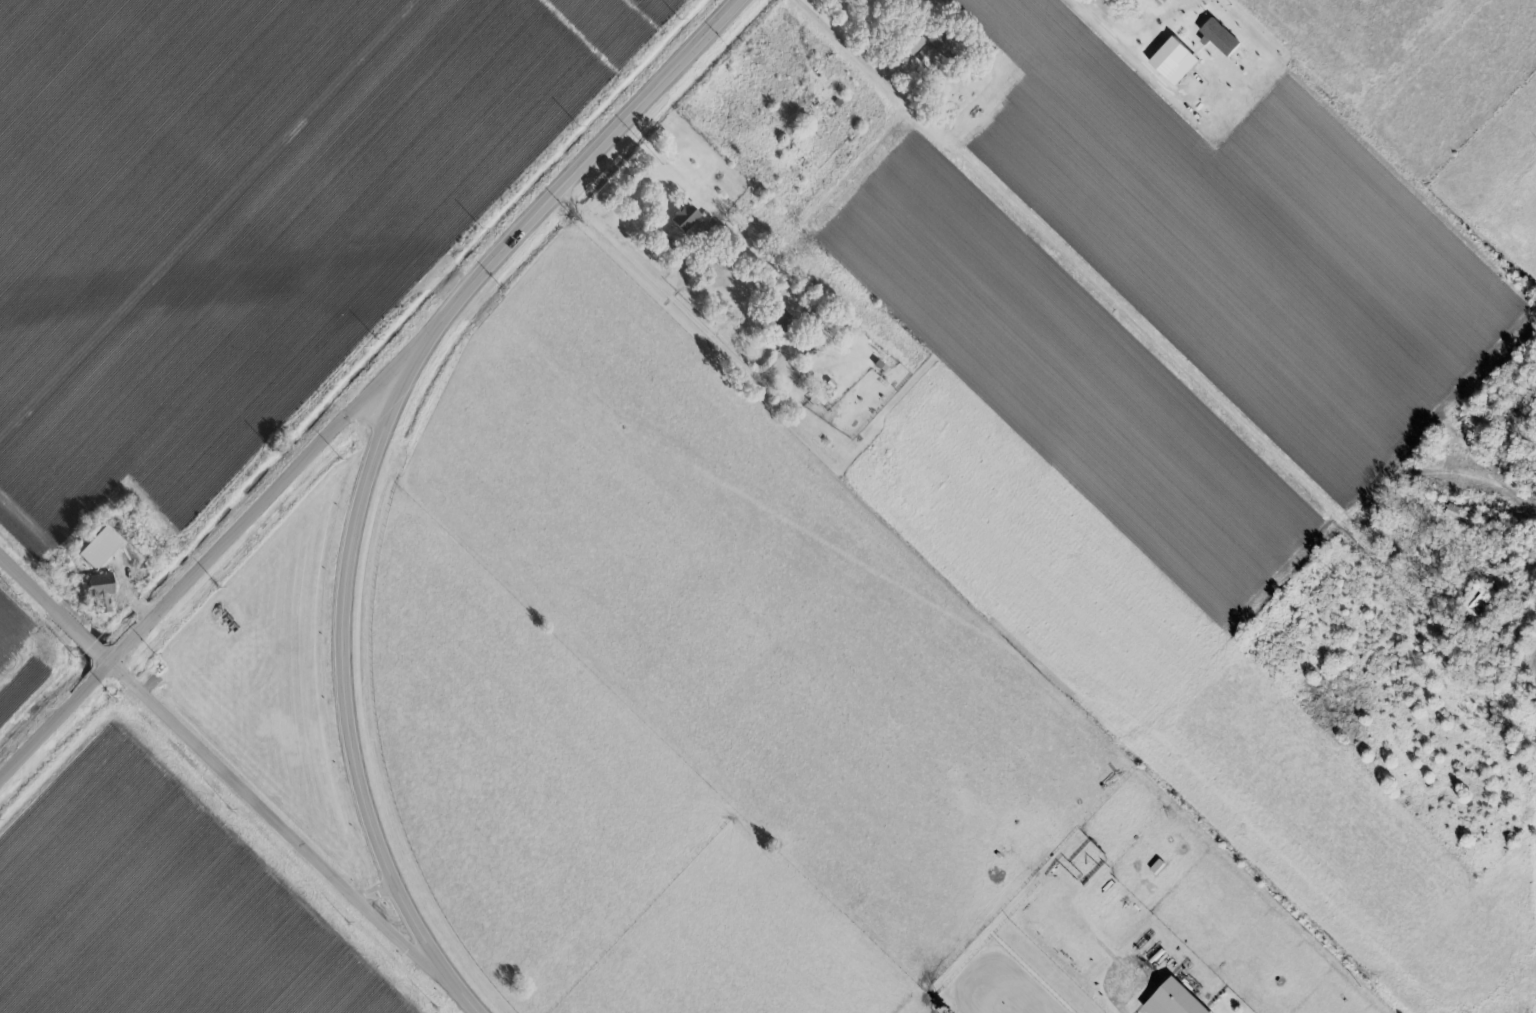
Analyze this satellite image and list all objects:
building: (1221, 37)
building: (927, 47)
road: (1118, 48)
building: (1176, 60)
road: (586, 155)
building: (686, 216)
road: (1130, 297)
road: (673, 299)
road: (221, 545)
building: (102, 586)
road: (341, 639)
road: (218, 757)
road: (456, 991)
building: (1176, 1000)

